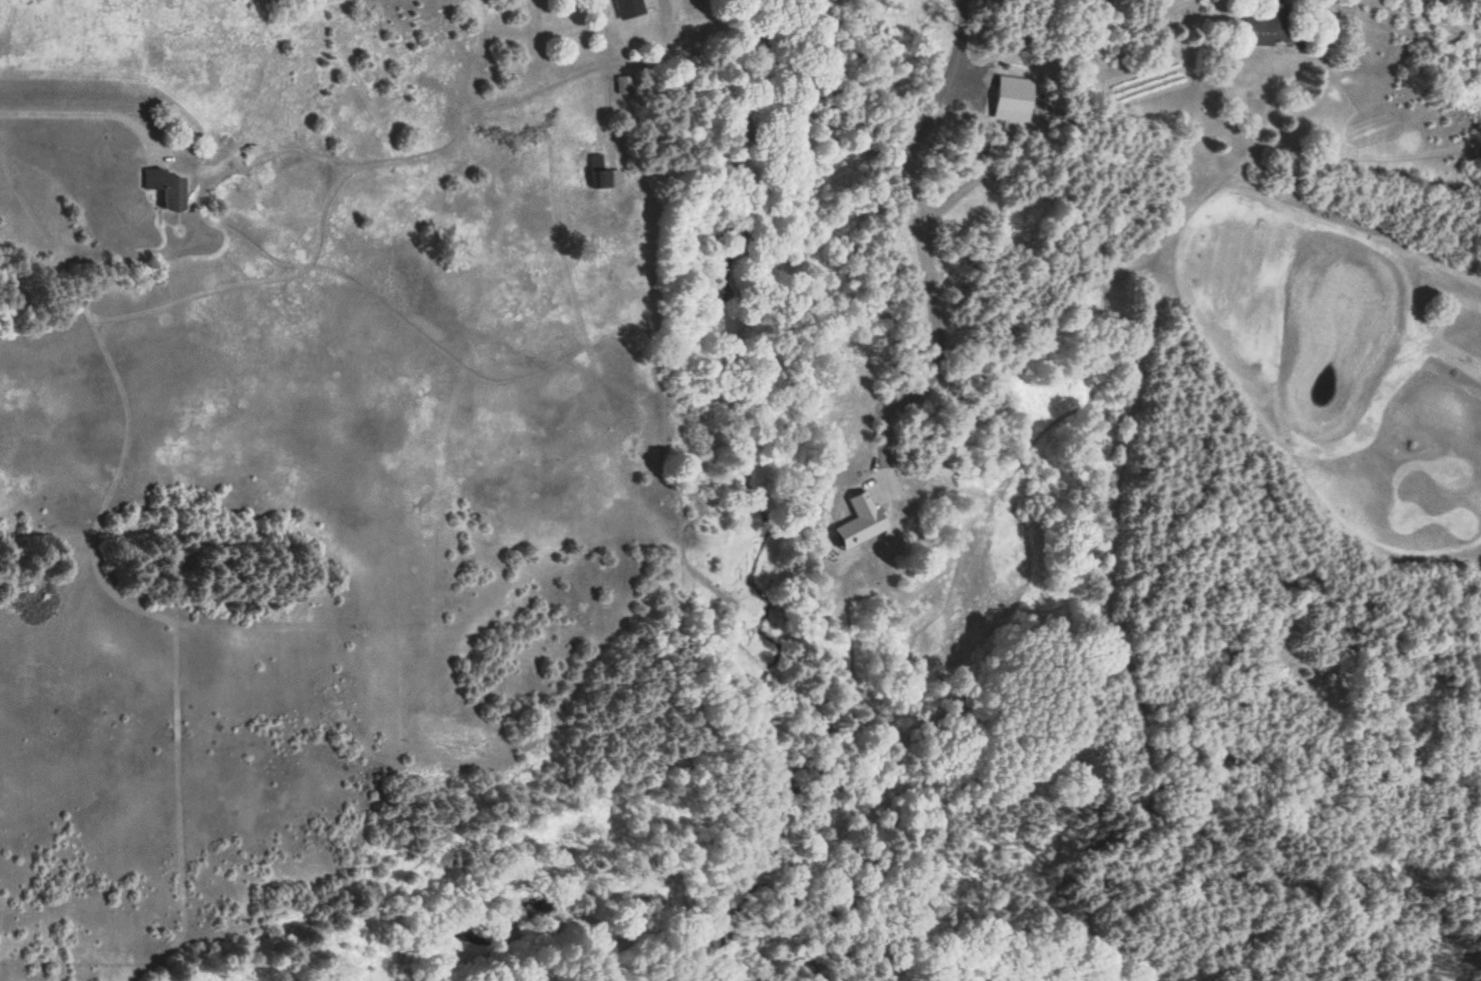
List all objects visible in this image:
building: (627, 7)
building: (1265, 28)
building: (601, 172)
building: (165, 185)

